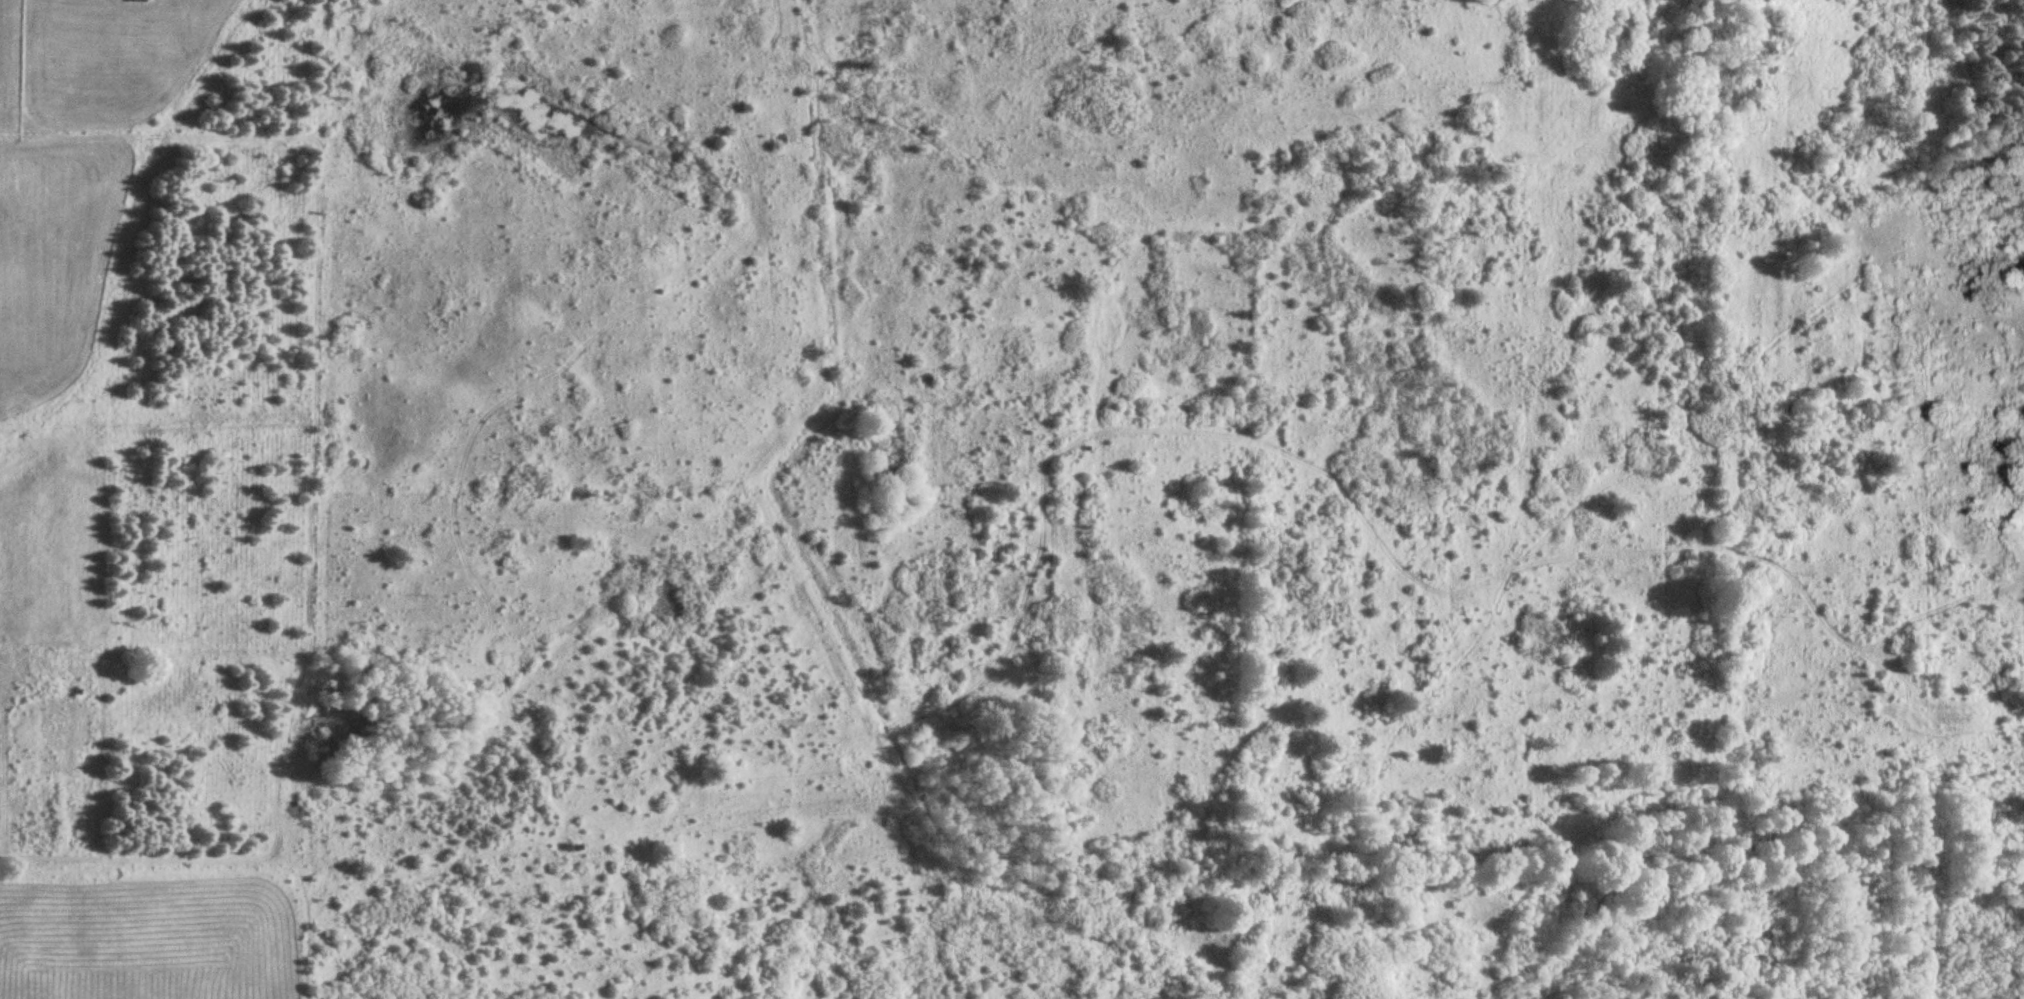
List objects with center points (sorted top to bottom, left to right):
building: (138, 0)

